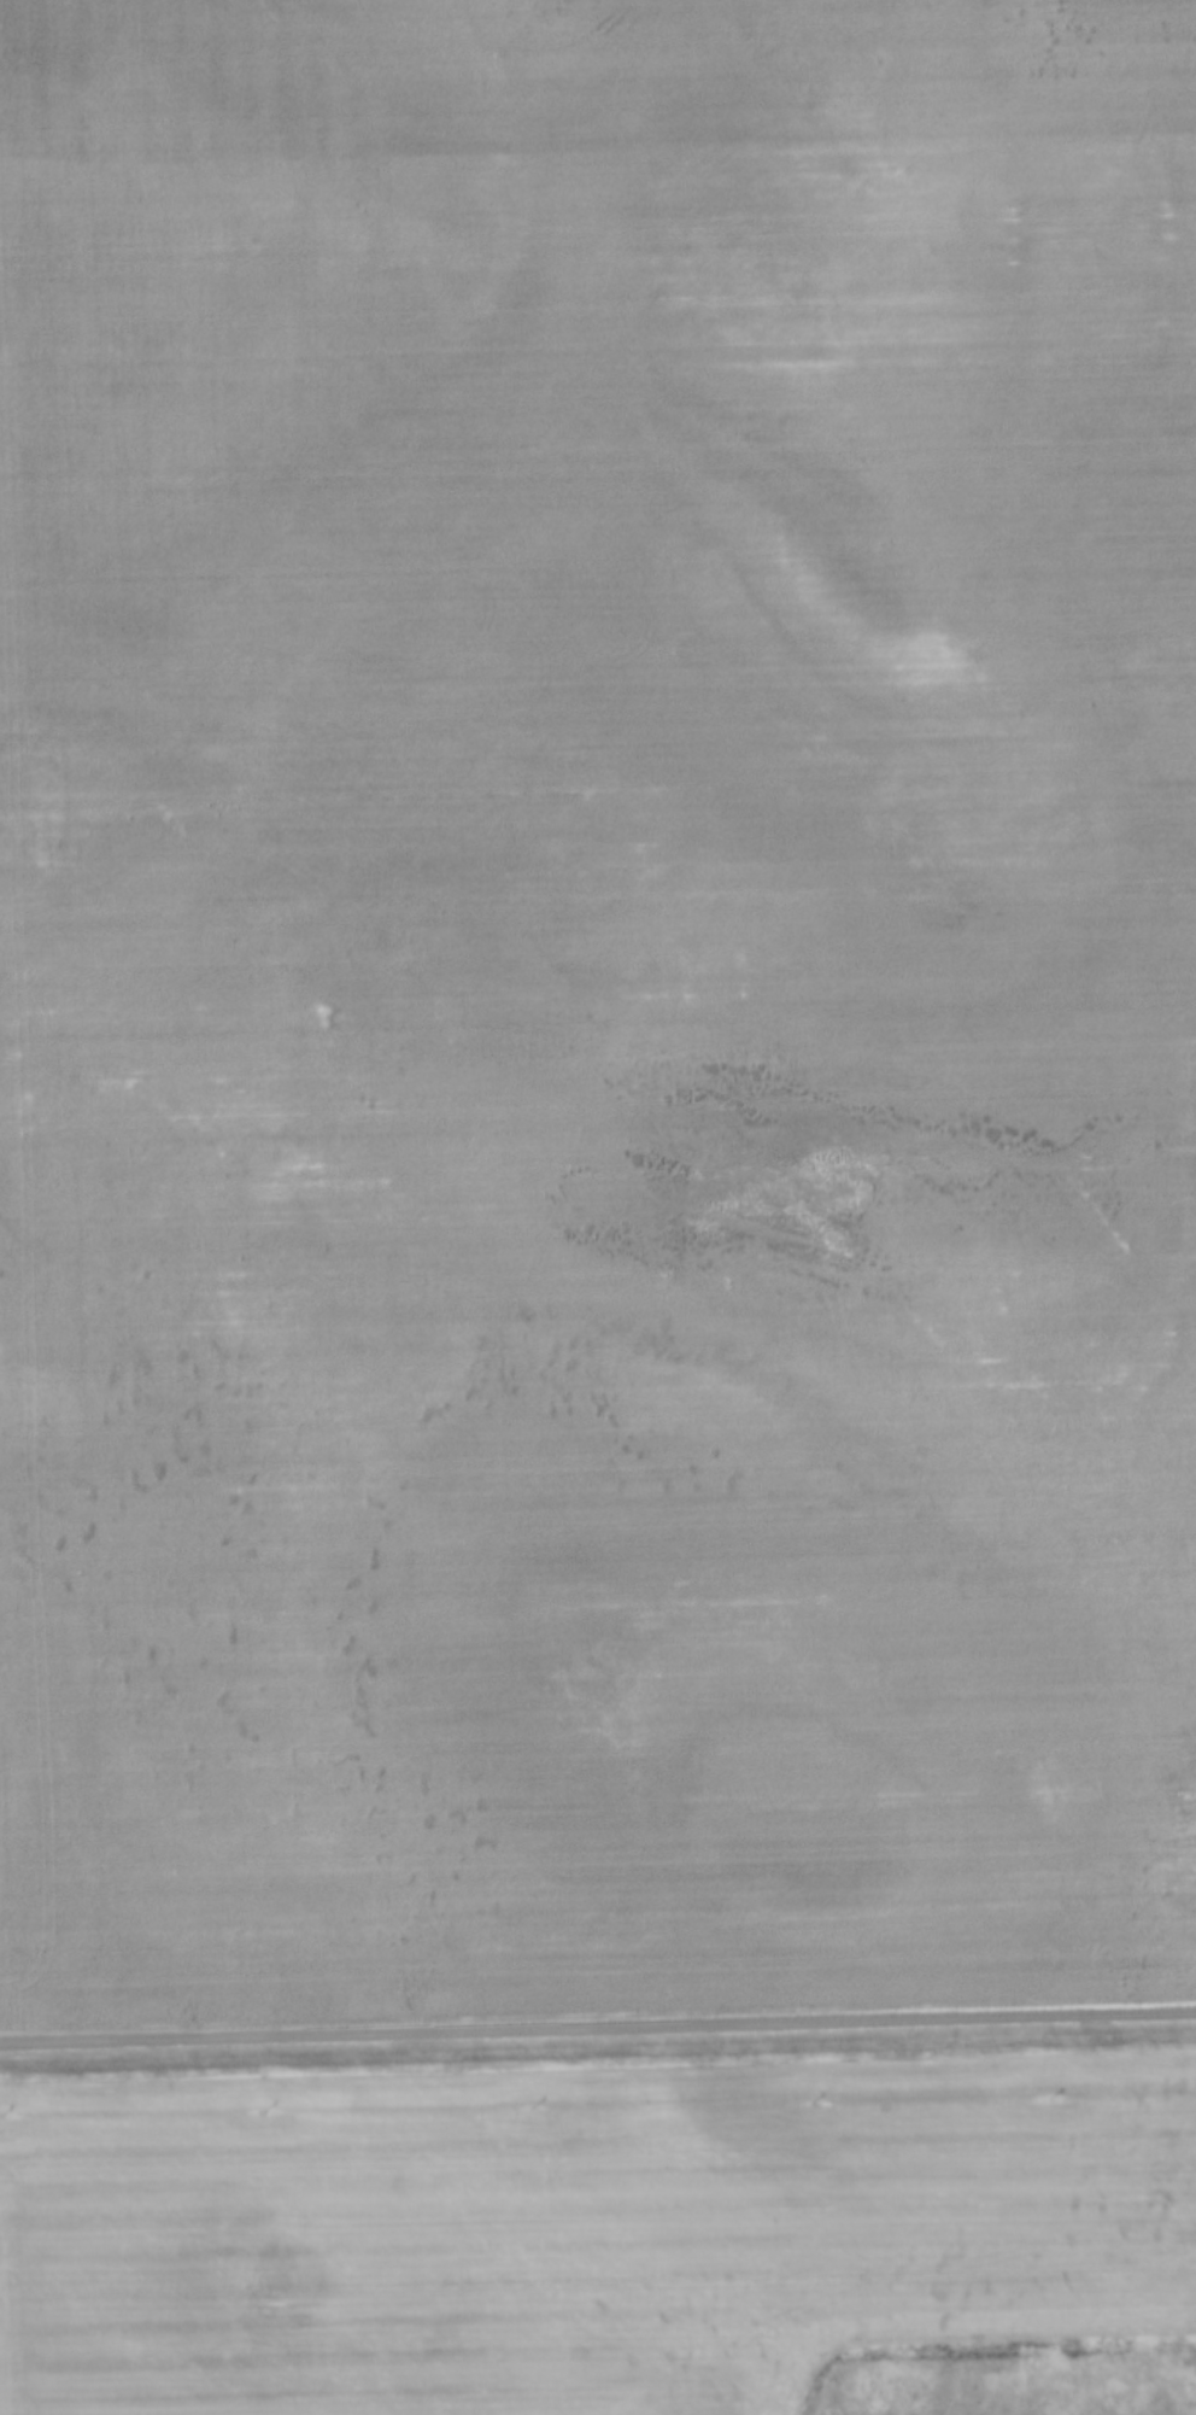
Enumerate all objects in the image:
road: (597, 2029)

